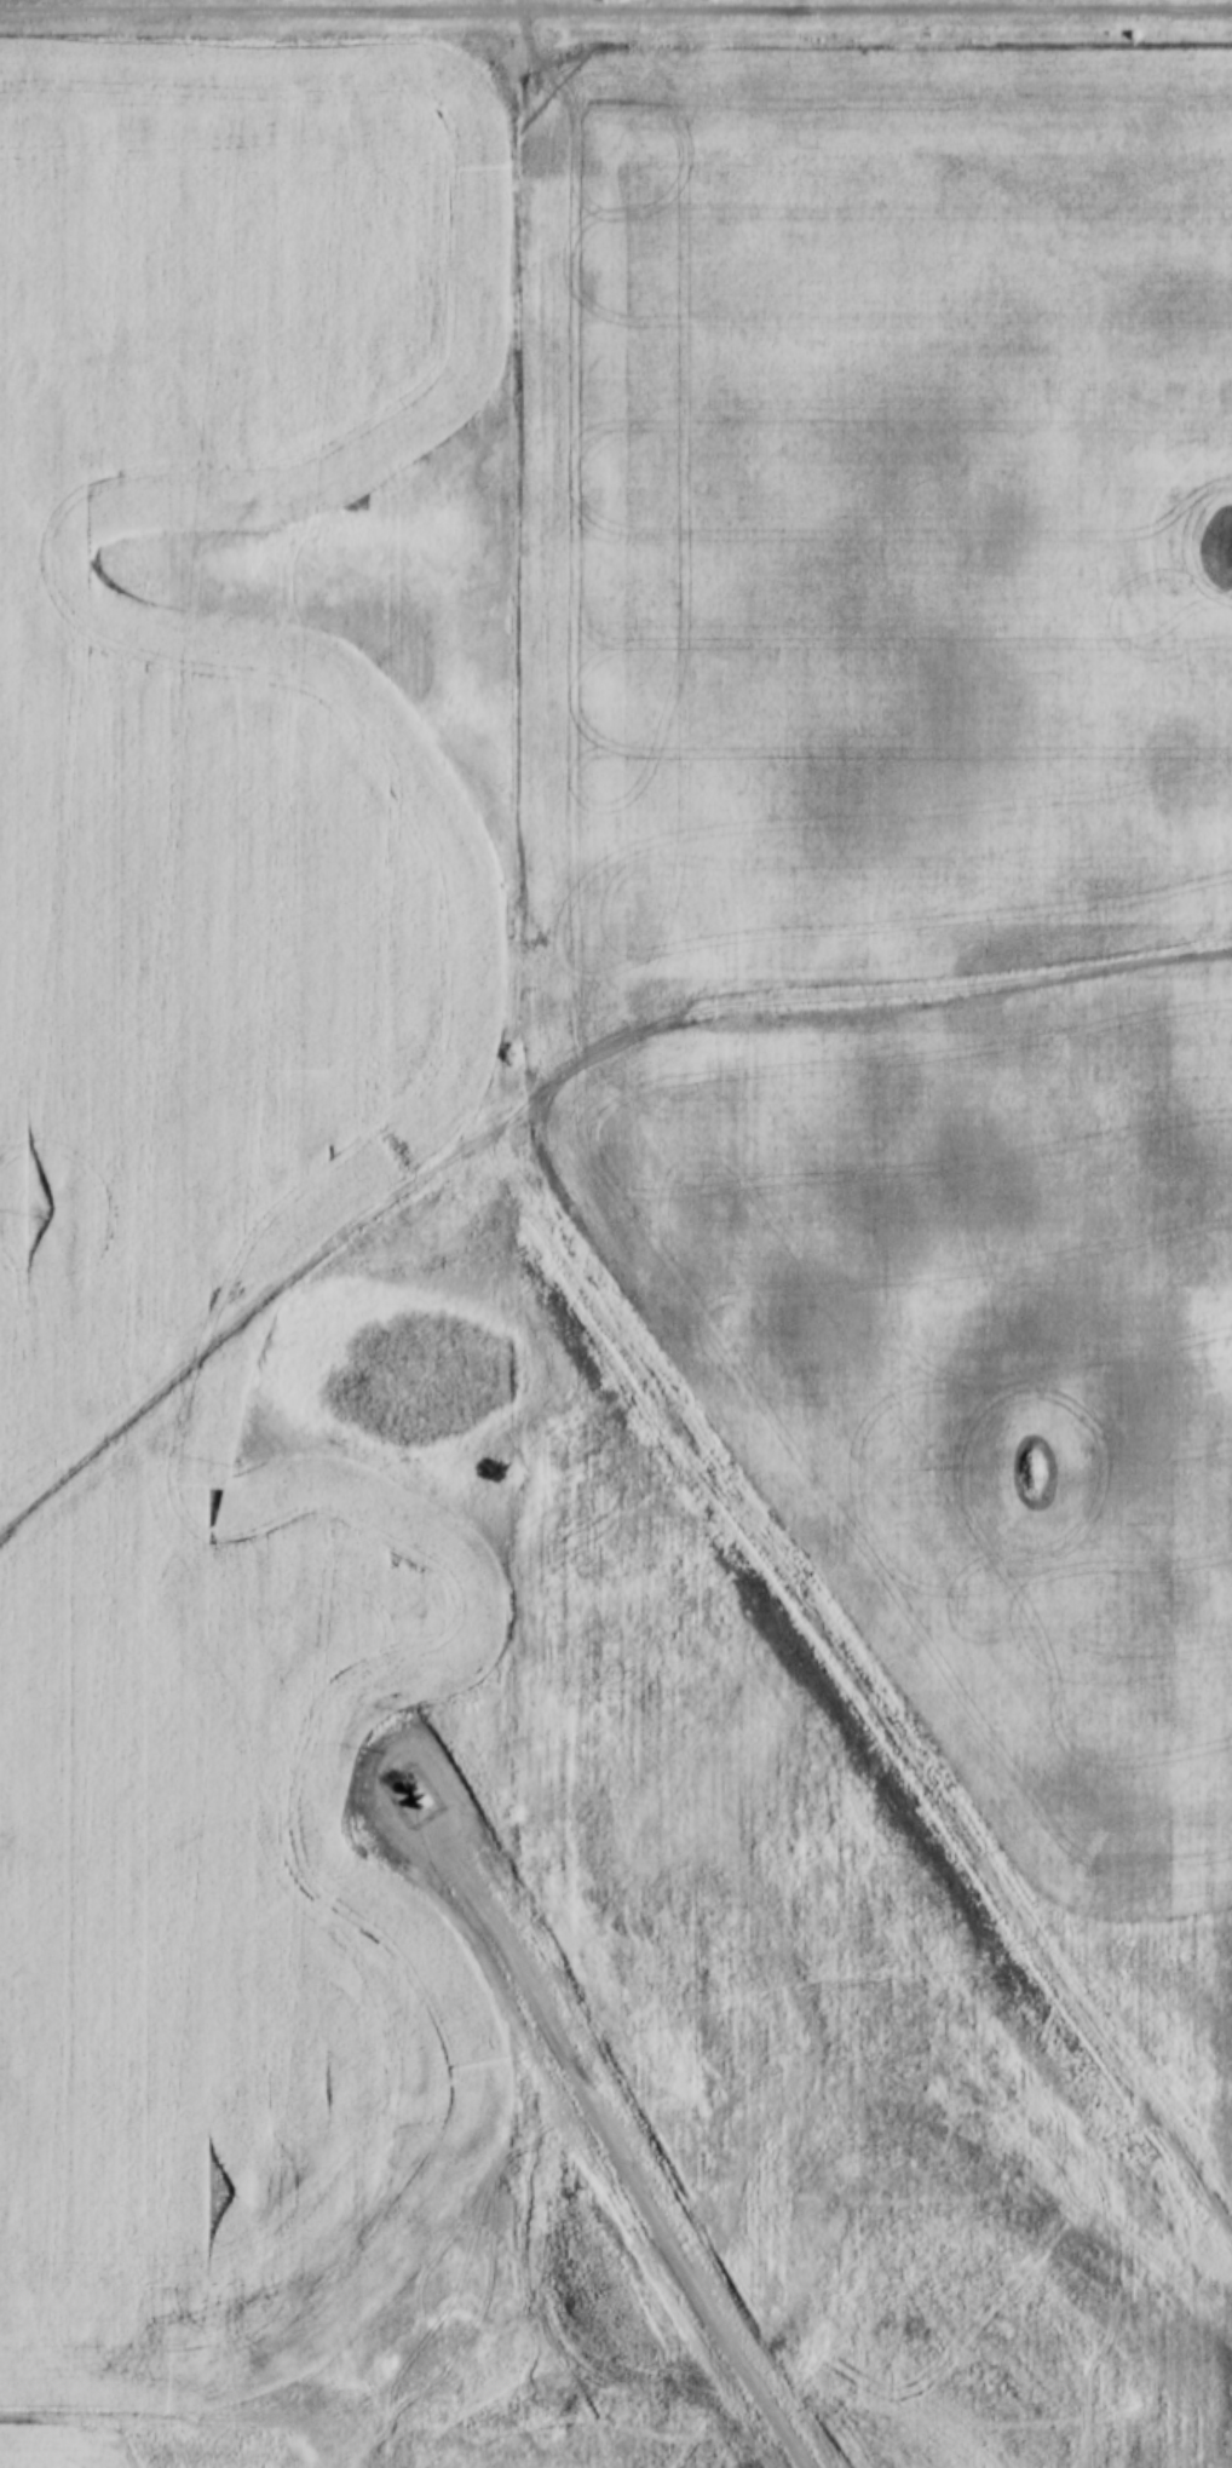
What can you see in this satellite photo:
road: (616, 8)

